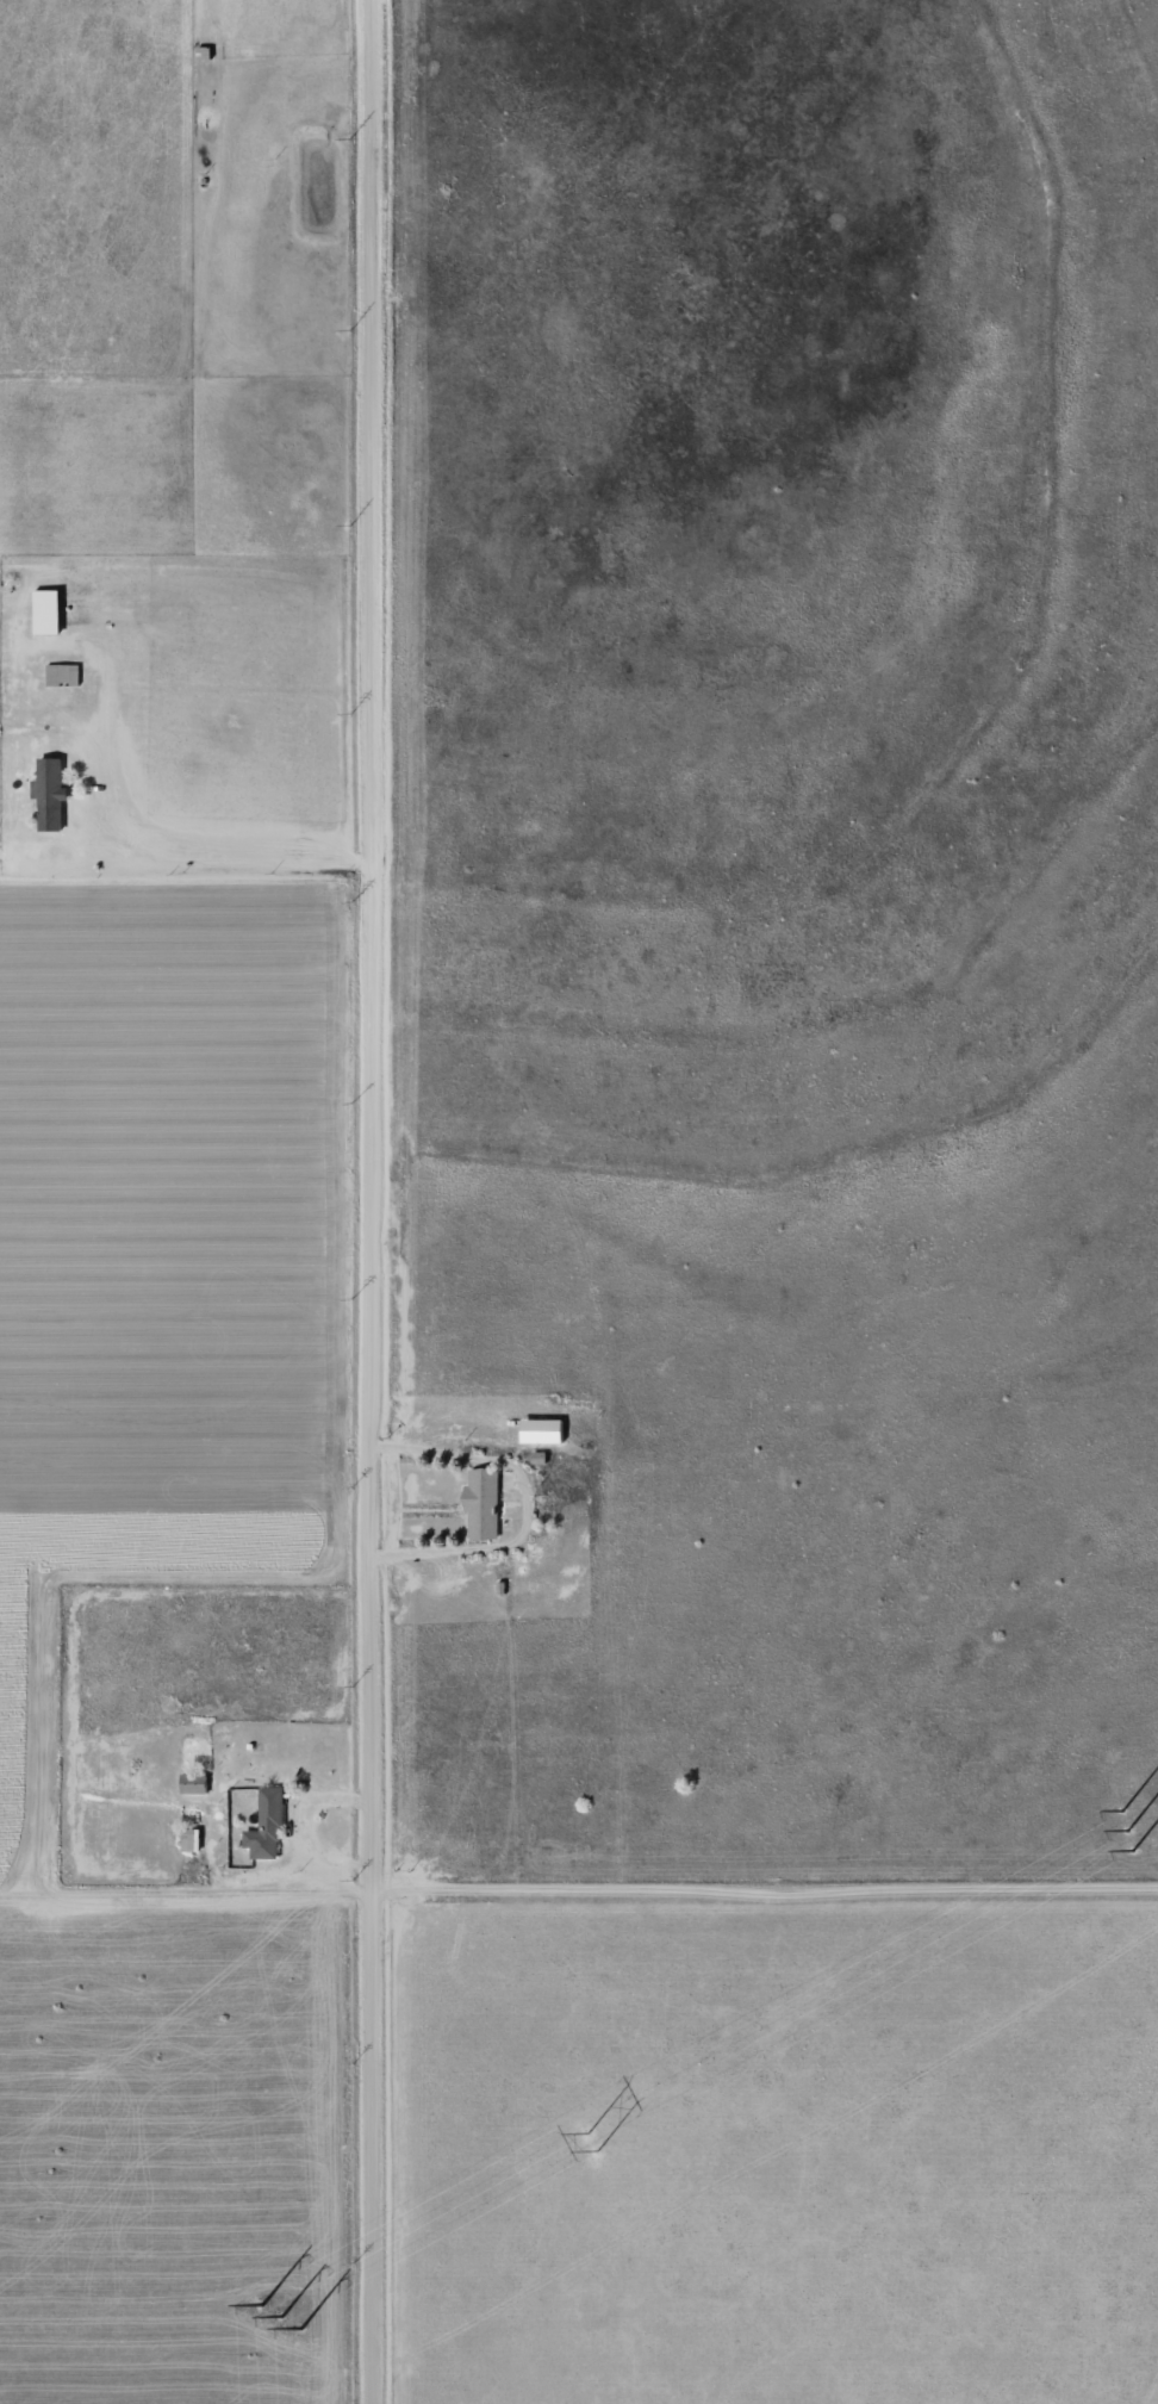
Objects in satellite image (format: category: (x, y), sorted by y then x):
building: (44, 614)
building: (61, 676)
building: (46, 795)
road: (197, 850)
road: (372, 1201)
building: (540, 1431)
building: (479, 1503)
road: (529, 1507)
building: (191, 1784)
building: (264, 1826)
power tower: (1127, 1833)
road: (578, 1851)
power tower: (592, 2147)
power tower: (288, 2321)

